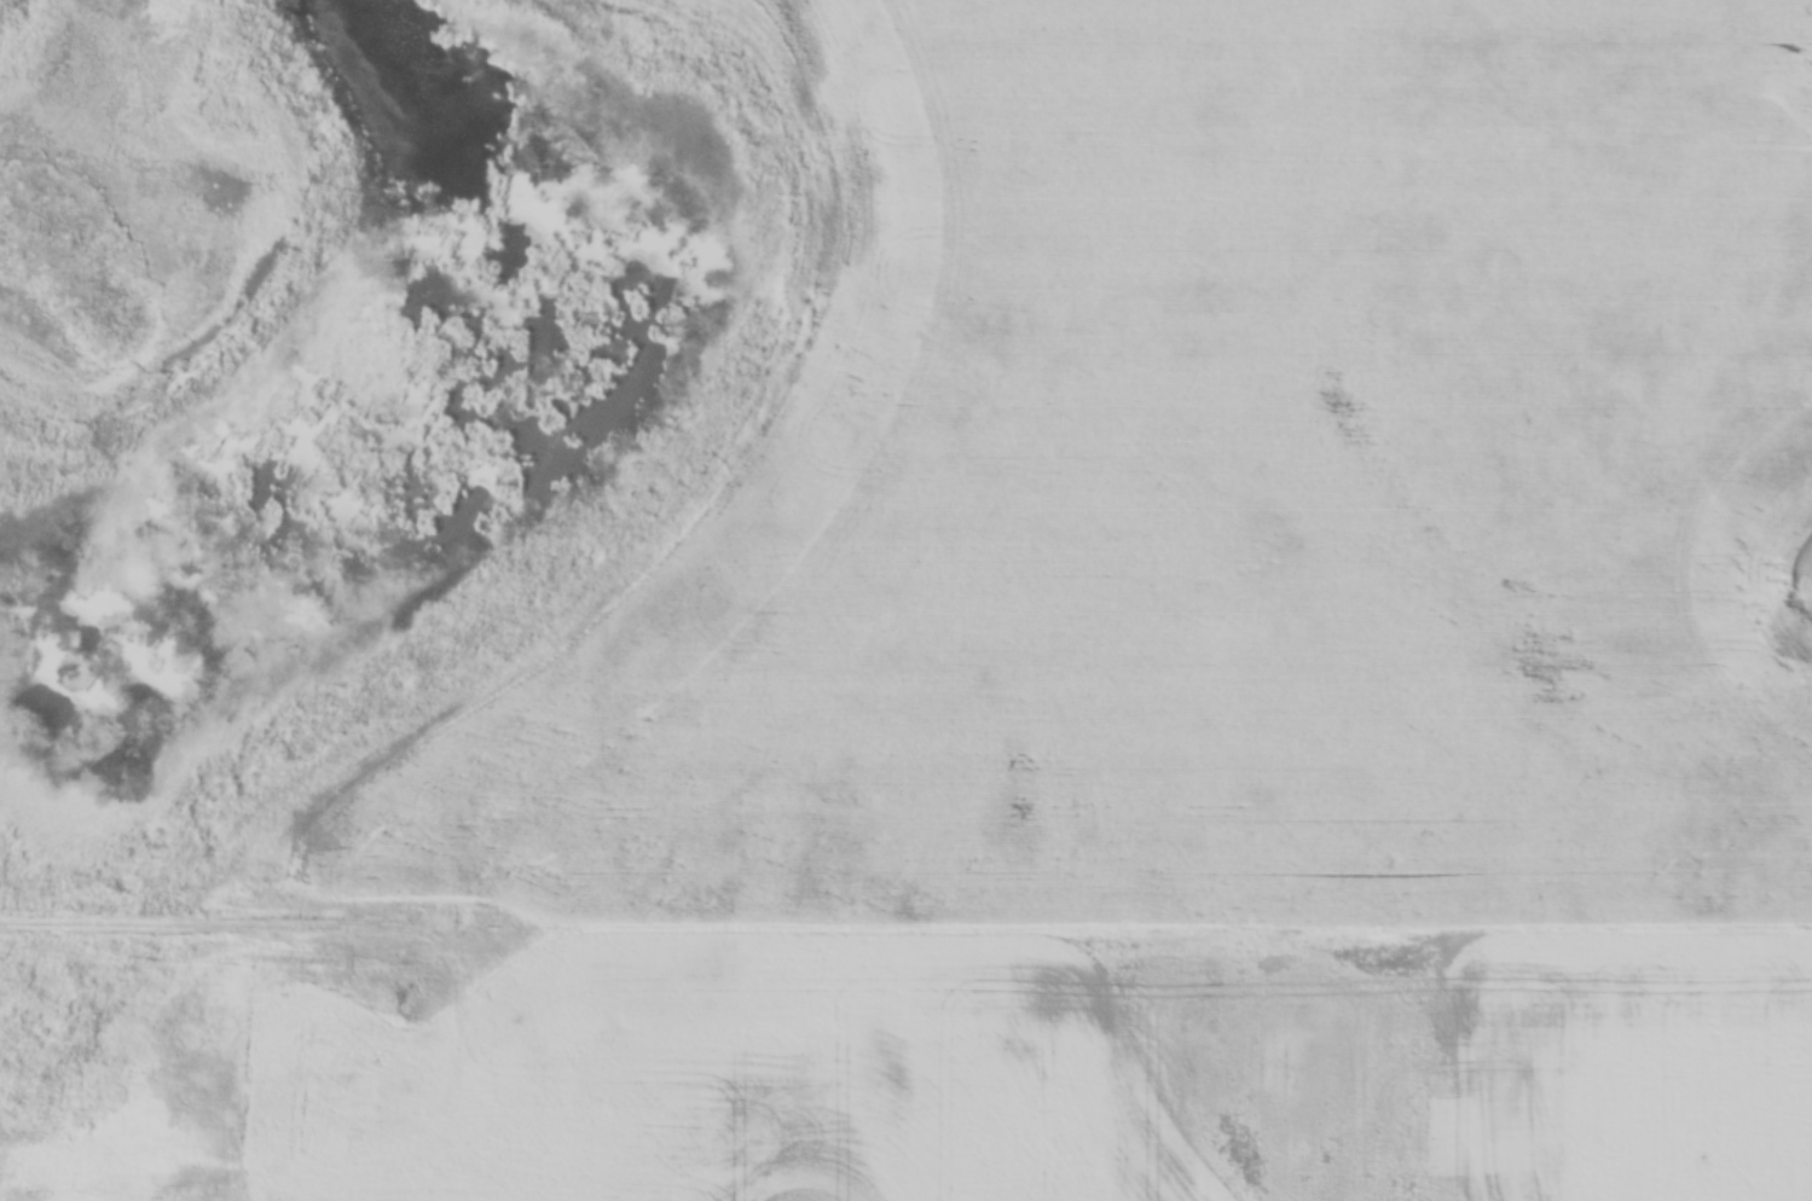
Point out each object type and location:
road: (228, 930)

